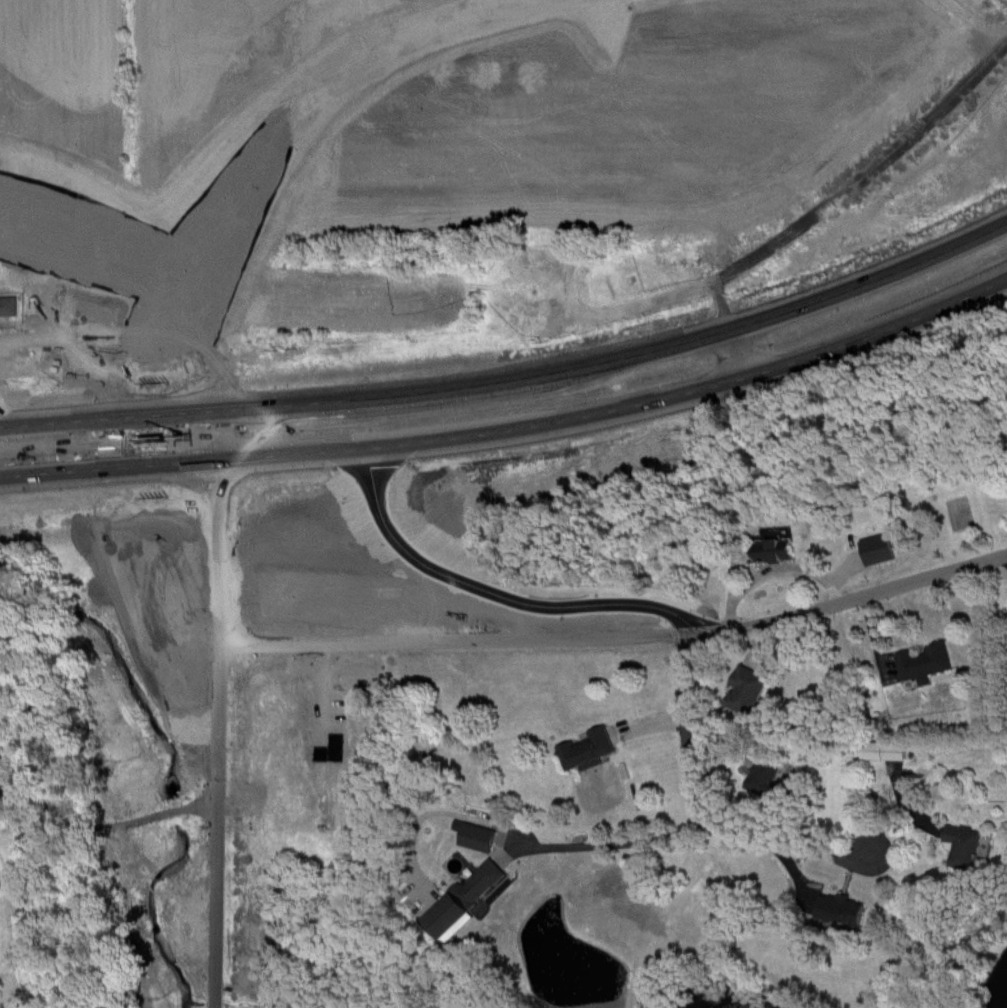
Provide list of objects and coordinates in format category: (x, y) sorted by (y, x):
road: (286, 123)
road: (91, 243)
building: (548, 260)
building: (6, 304)
road: (515, 377)
road: (514, 428)
road: (150, 438)
building: (876, 548)
building: (774, 550)
road: (847, 566)
road: (782, 571)
road: (592, 636)
road: (762, 639)
building: (921, 661)
building: (746, 680)
road: (661, 715)
building: (318, 723)
building: (585, 749)
road: (197, 750)
building: (882, 750)
building: (762, 776)
road: (717, 801)
road: (100, 822)
road: (627, 834)
building: (962, 840)
building: (0, 876)
building: (460, 899)
building: (838, 909)

